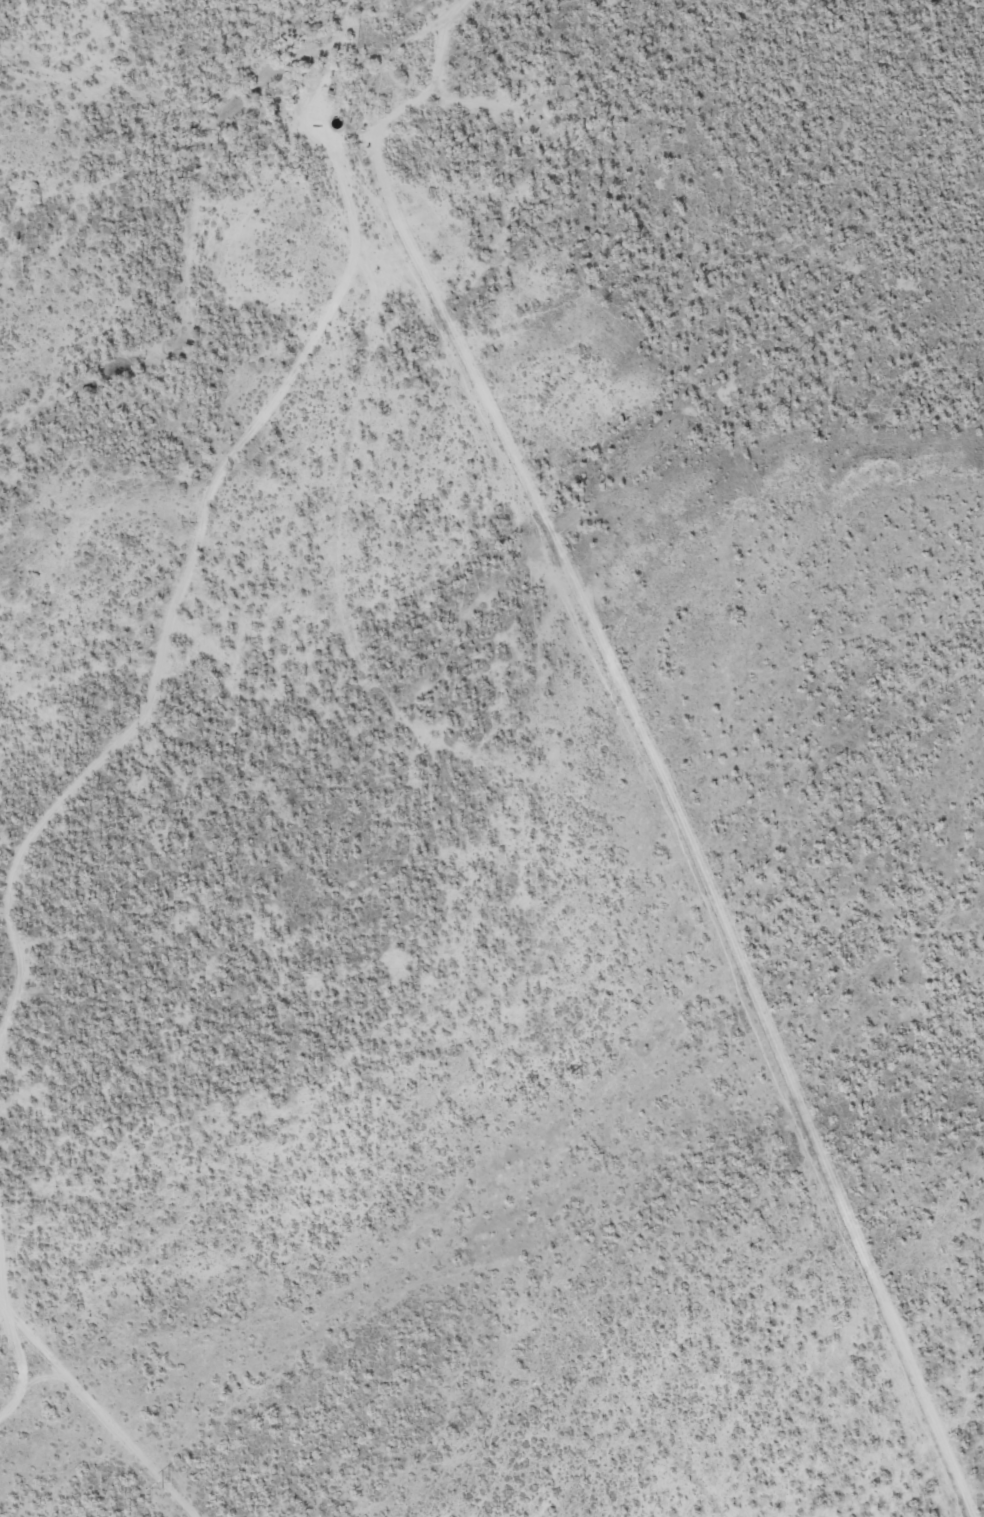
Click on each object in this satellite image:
road: (211, 498)
road: (563, 567)
road: (15, 1334)
road: (901, 1349)
road: (99, 1407)
power tower: (164, 1484)

